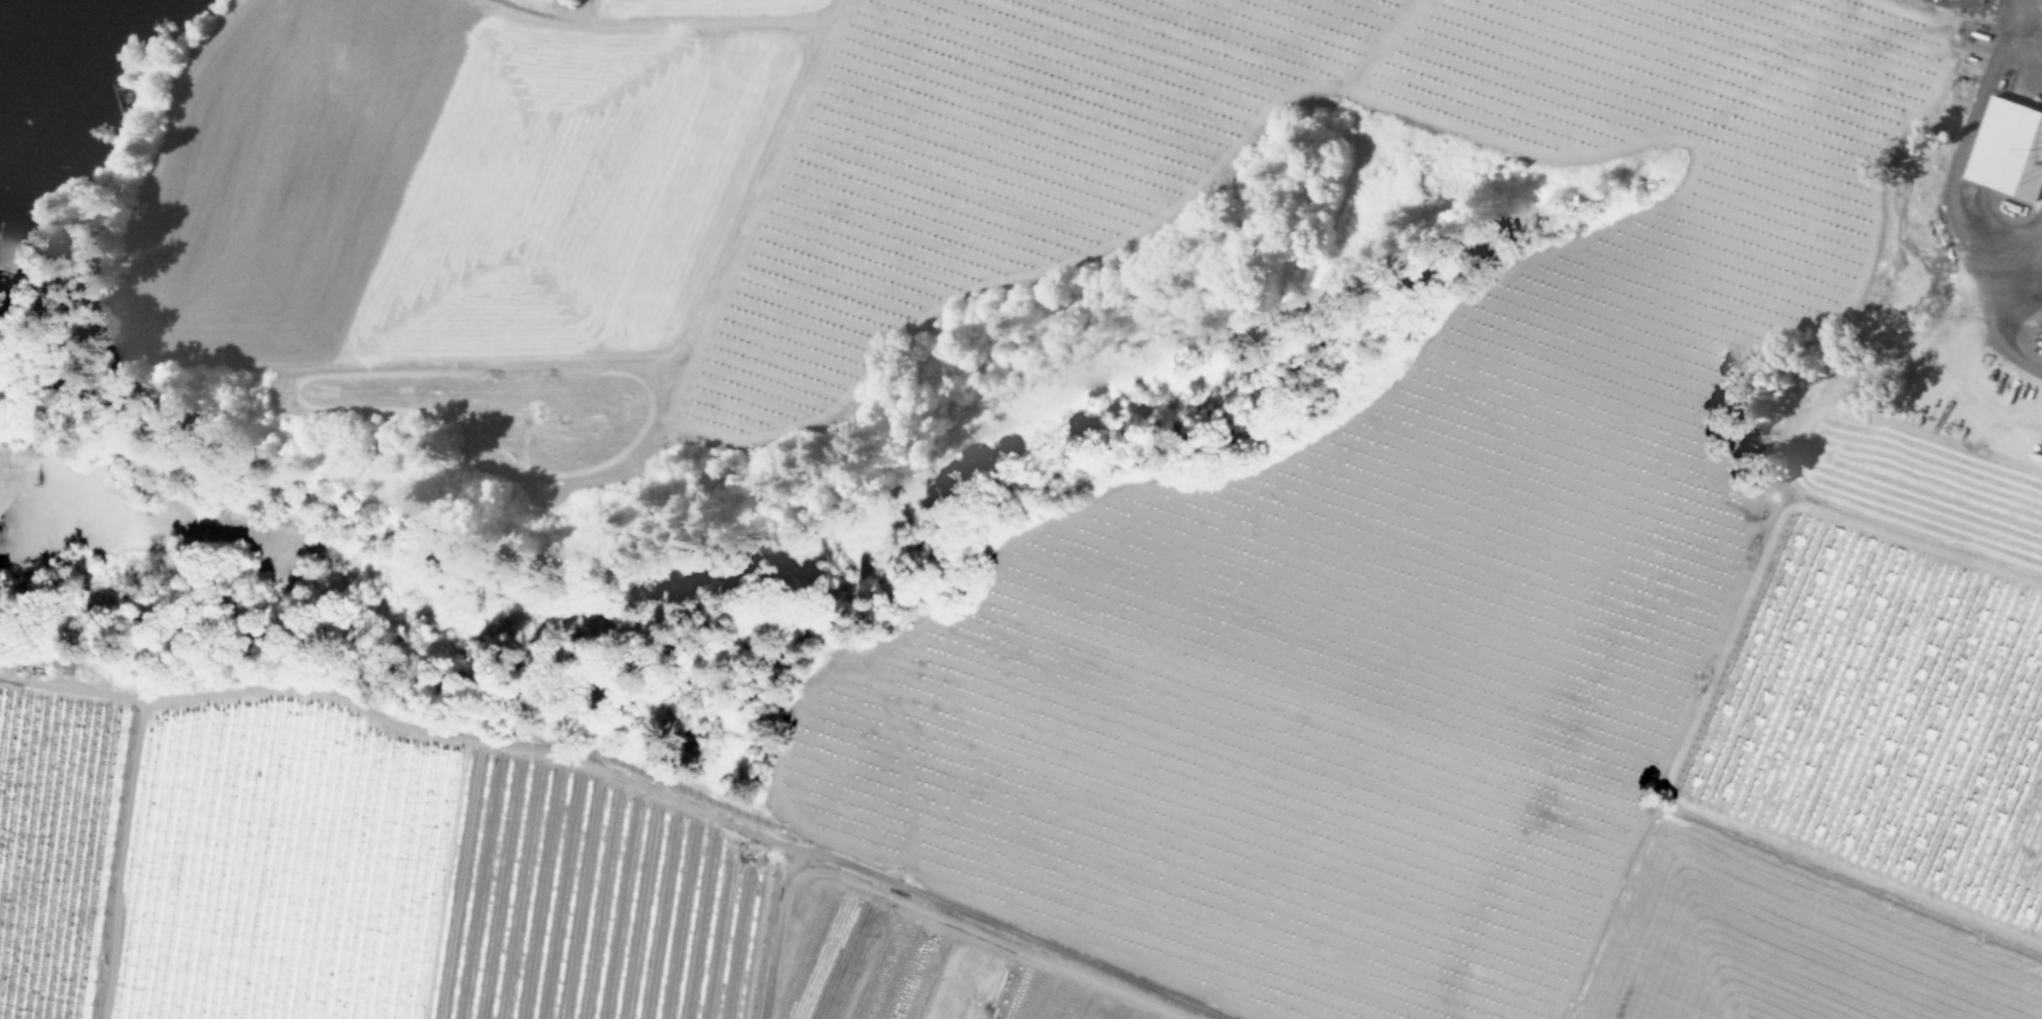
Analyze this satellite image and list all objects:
road: (2033, 22)
crop: (1291, 476)
crop: (54, 848)
road: (1869, 880)
crop: (414, 885)
road: (929, 897)
building: (380, 929)

